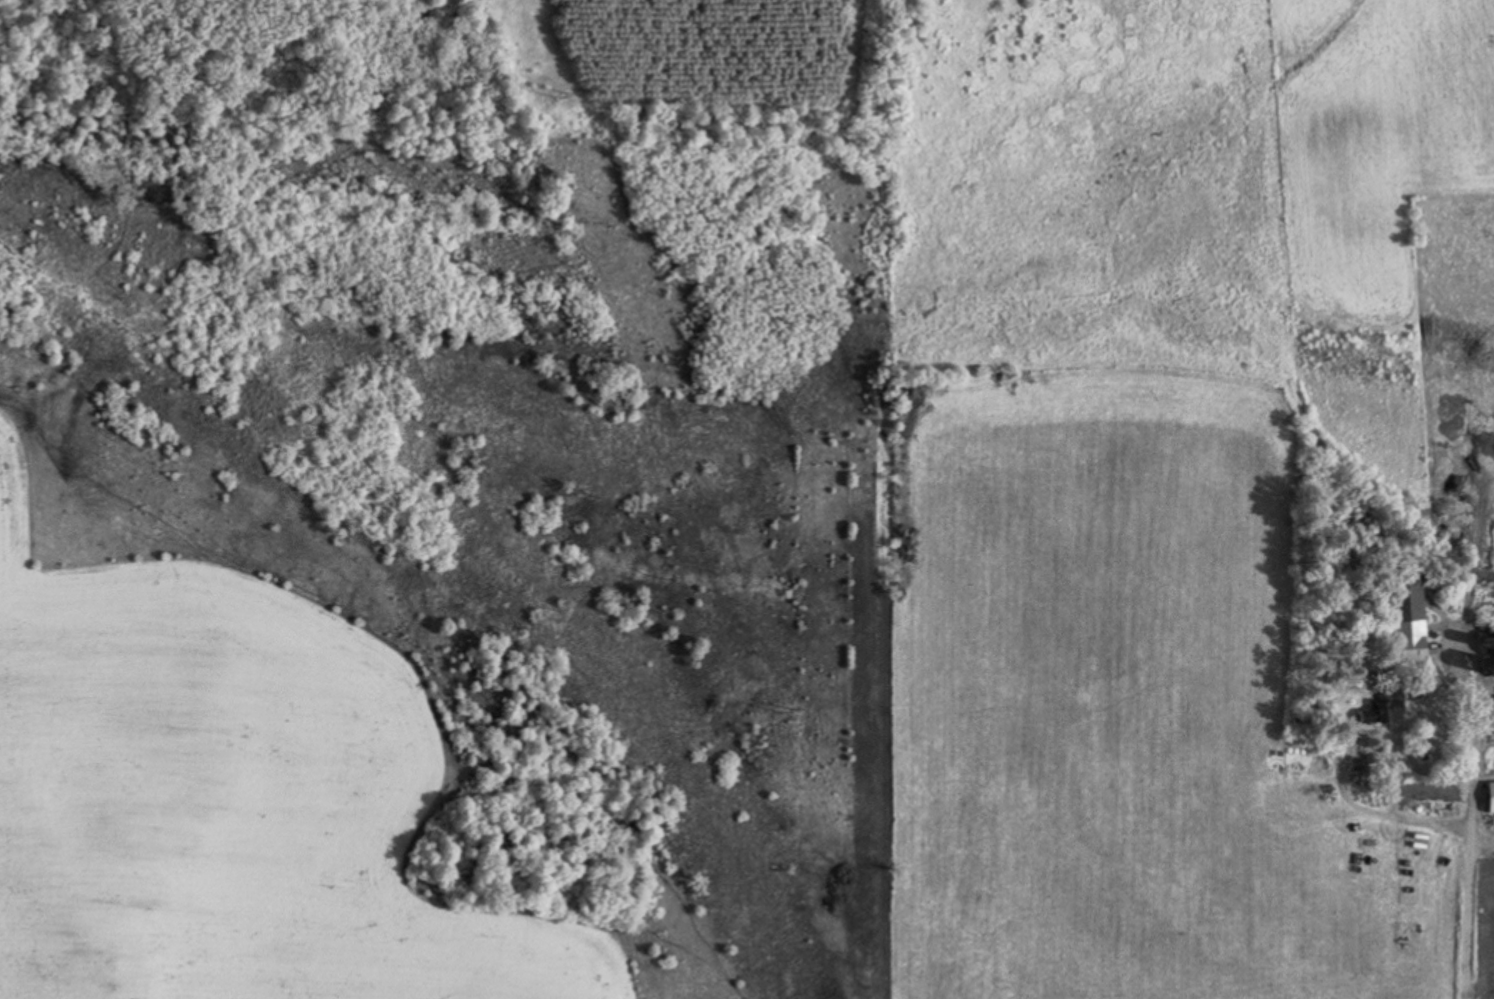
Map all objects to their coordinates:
power tower: (560, 93)
building: (1408, 618)
building: (1488, 654)
building: (1385, 707)
power tower: (788, 711)
building: (1488, 797)
road: (1465, 812)

